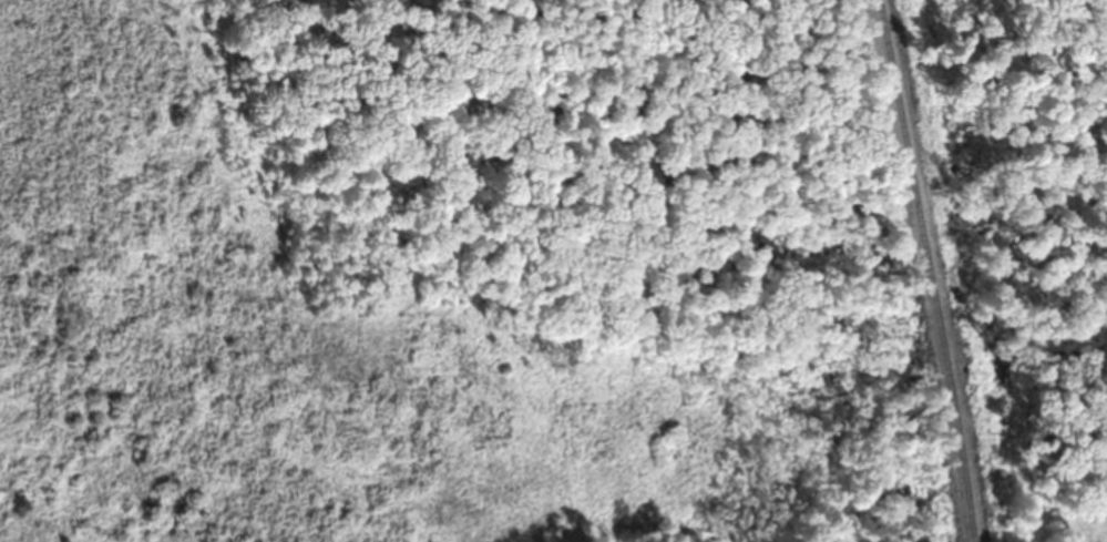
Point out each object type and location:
railway: (926, 270)

